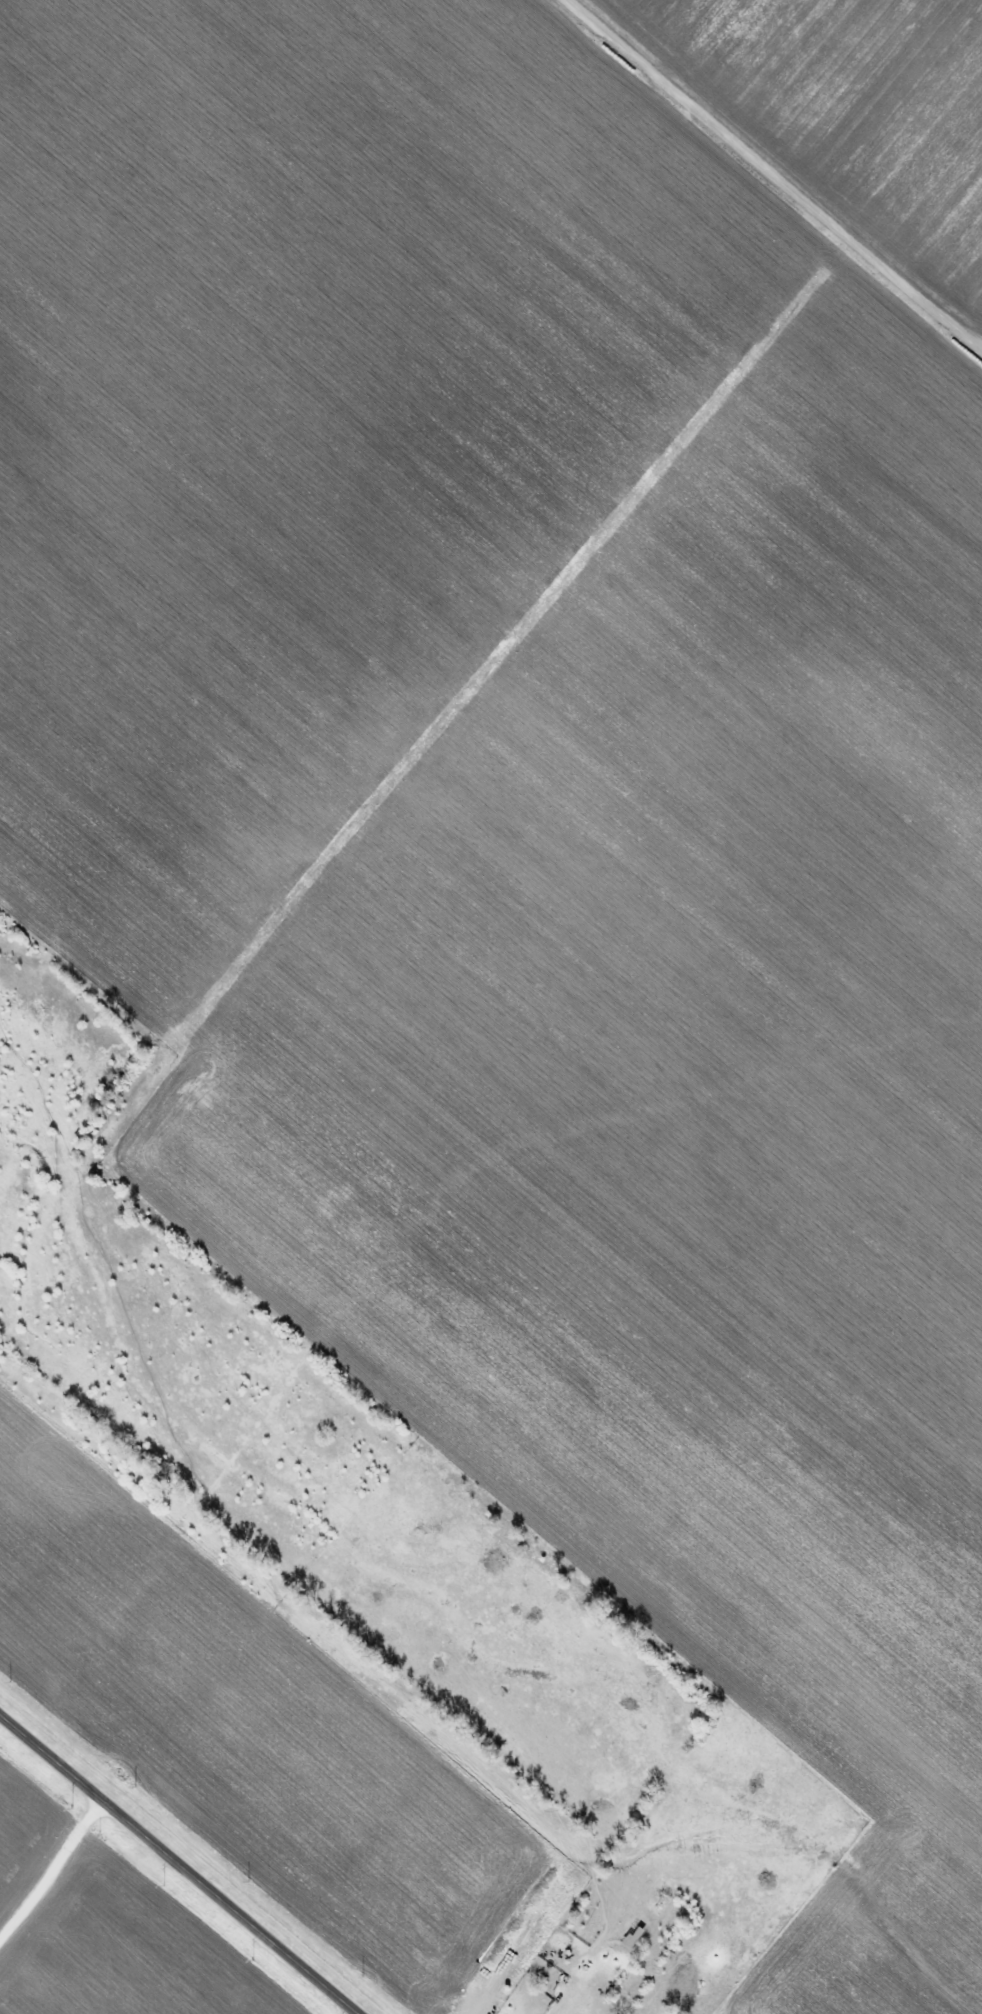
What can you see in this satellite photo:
road: (179, 1864)

